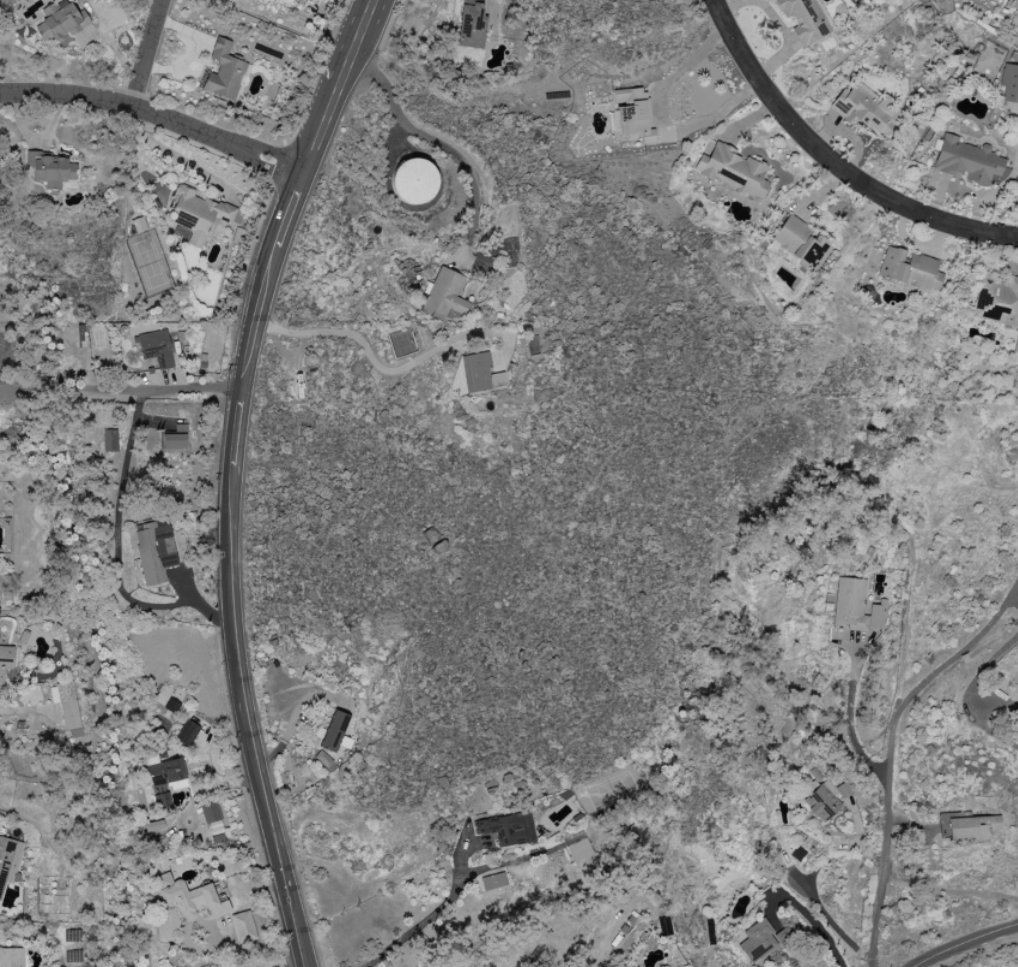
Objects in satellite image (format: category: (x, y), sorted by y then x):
building: (802, 19)
building: (59, 20)
road: (776, 24)
building: (469, 25)
road: (145, 53)
building: (222, 71)
building: (1008, 84)
road: (325, 86)
road: (344, 89)
building: (864, 110)
road: (155, 115)
building: (631, 115)
road: (657, 120)
road: (427, 139)
building: (965, 161)
road: (832, 163)
building: (48, 169)
building: (412, 181)
building: (198, 214)
building: (136, 225)
building: (799, 244)
road: (273, 248)
building: (908, 269)
building: (444, 295)
building: (996, 302)
building: (1015, 345)
building: (155, 348)
road: (379, 370)
building: (478, 373)
road: (119, 391)
road: (135, 407)
building: (173, 438)
building: (108, 441)
building: (153, 550)
road: (115, 569)
building: (854, 607)
road: (232, 647)
road: (958, 652)
building: (5, 659)
road: (973, 686)
building: (63, 691)
building: (52, 695)
building: (169, 706)
road: (33, 710)
road: (847, 717)
building: (334, 733)
building: (185, 734)
road: (889, 771)
building: (164, 773)
building: (842, 790)
building: (820, 803)
building: (209, 813)
building: (970, 827)
building: (505, 829)
building: (5, 863)
building: (491, 879)
building: (182, 906)
road: (805, 914)
road: (426, 918)
building: (241, 927)
road: (961, 939)
building: (755, 941)
building: (10, 957)
road: (251, 960)

